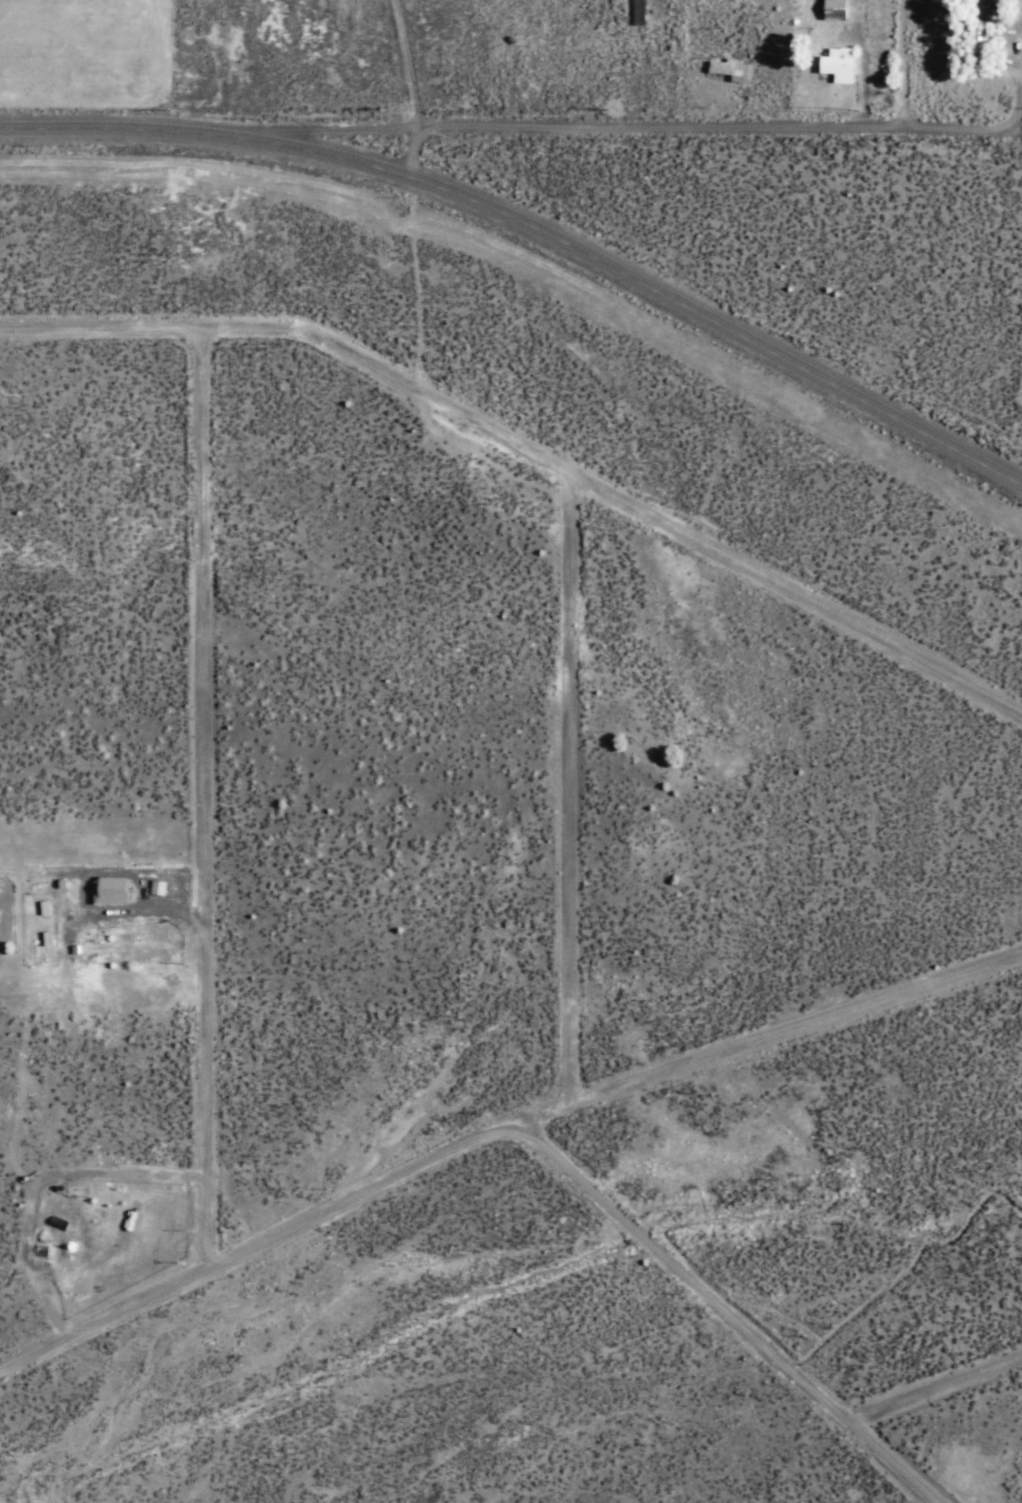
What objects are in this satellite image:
building: (836, 9)
building: (839, 65)
road: (169, 66)
building: (730, 70)
road: (416, 90)
road: (631, 129)
road: (535, 227)
road: (529, 452)
road: (576, 793)
road: (204, 803)
building: (111, 892)
building: (47, 940)
road: (496, 1134)
road: (728, 1315)
road: (939, 1398)

